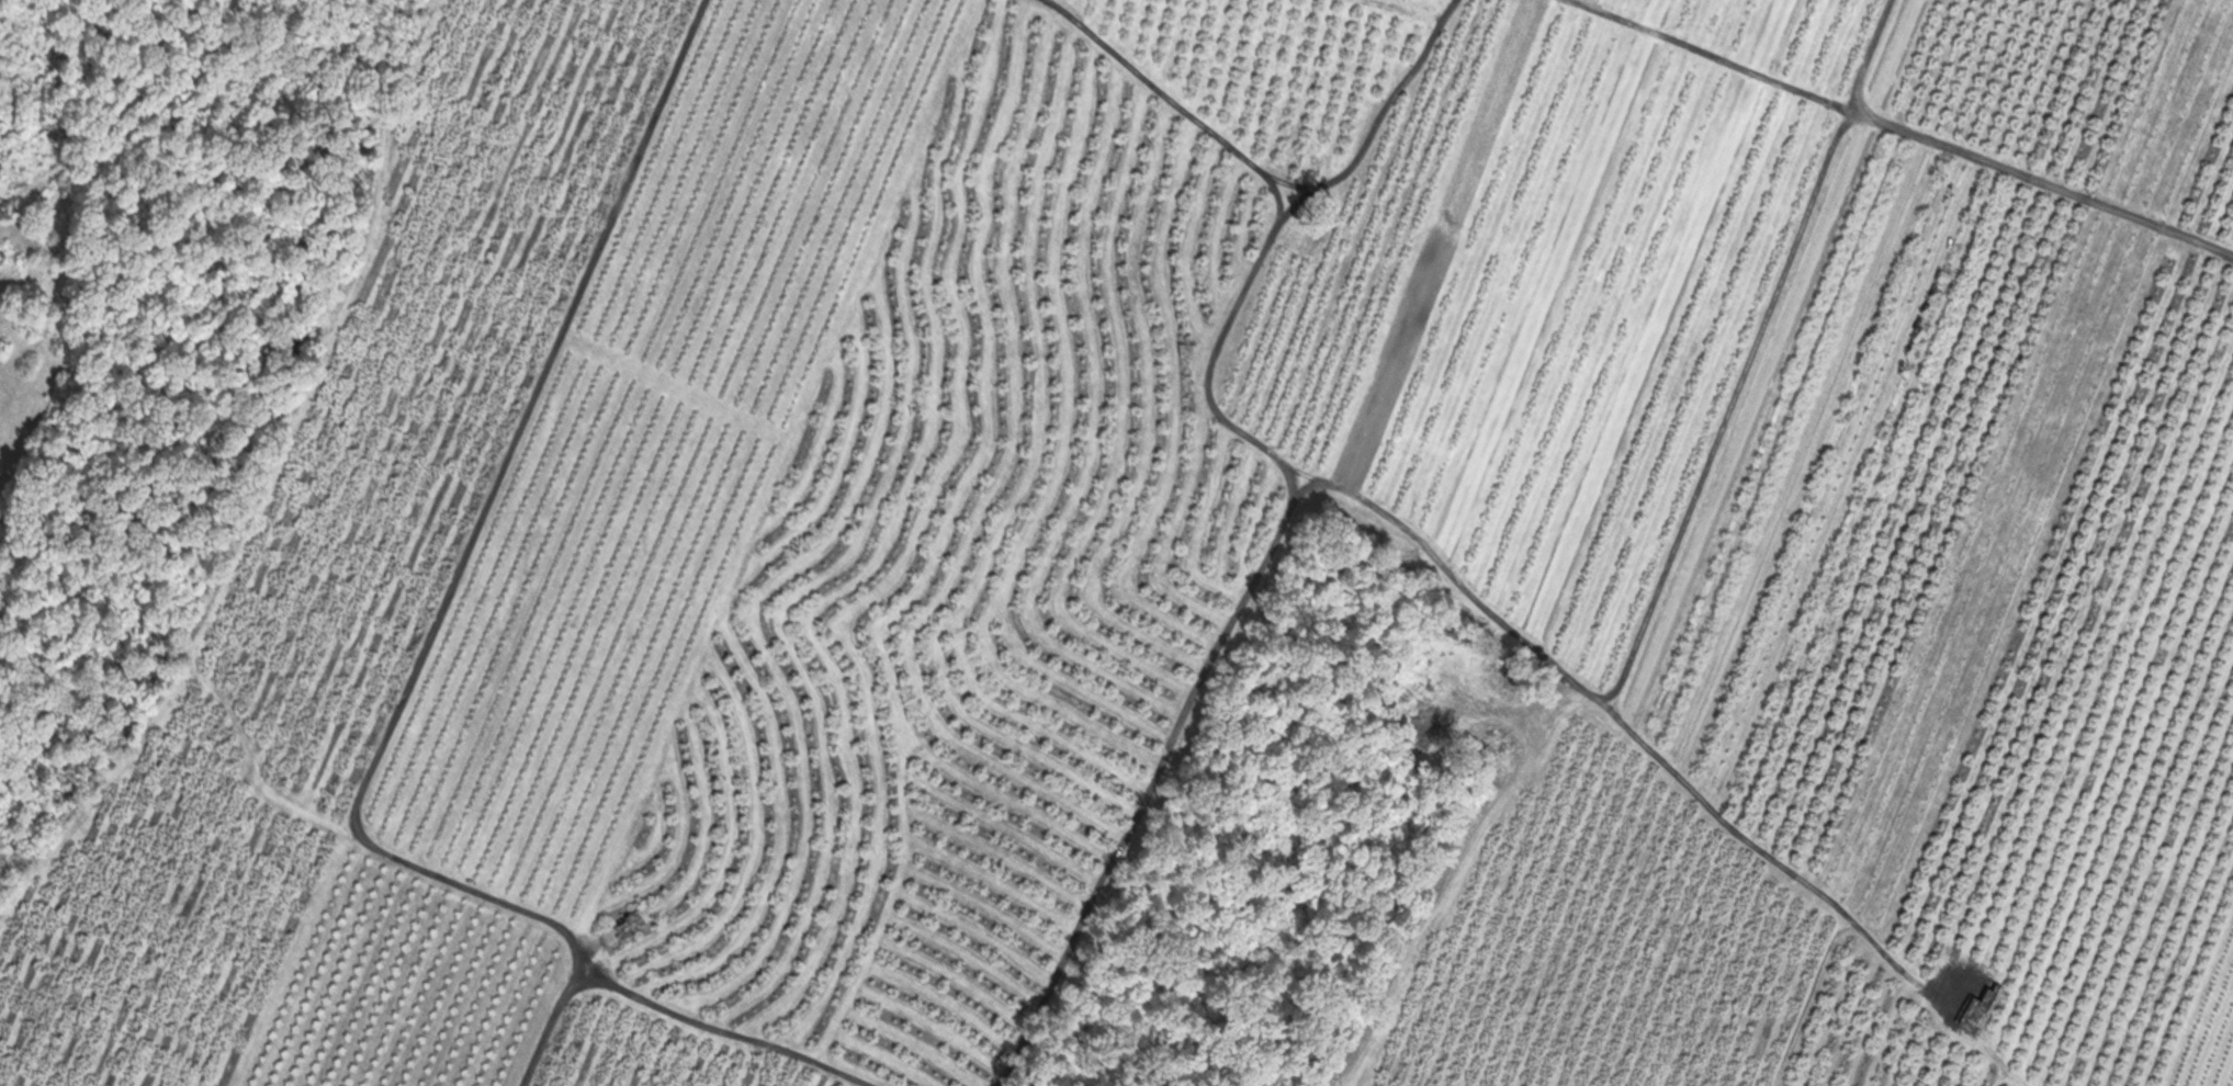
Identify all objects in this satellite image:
road: (1987, 158)

